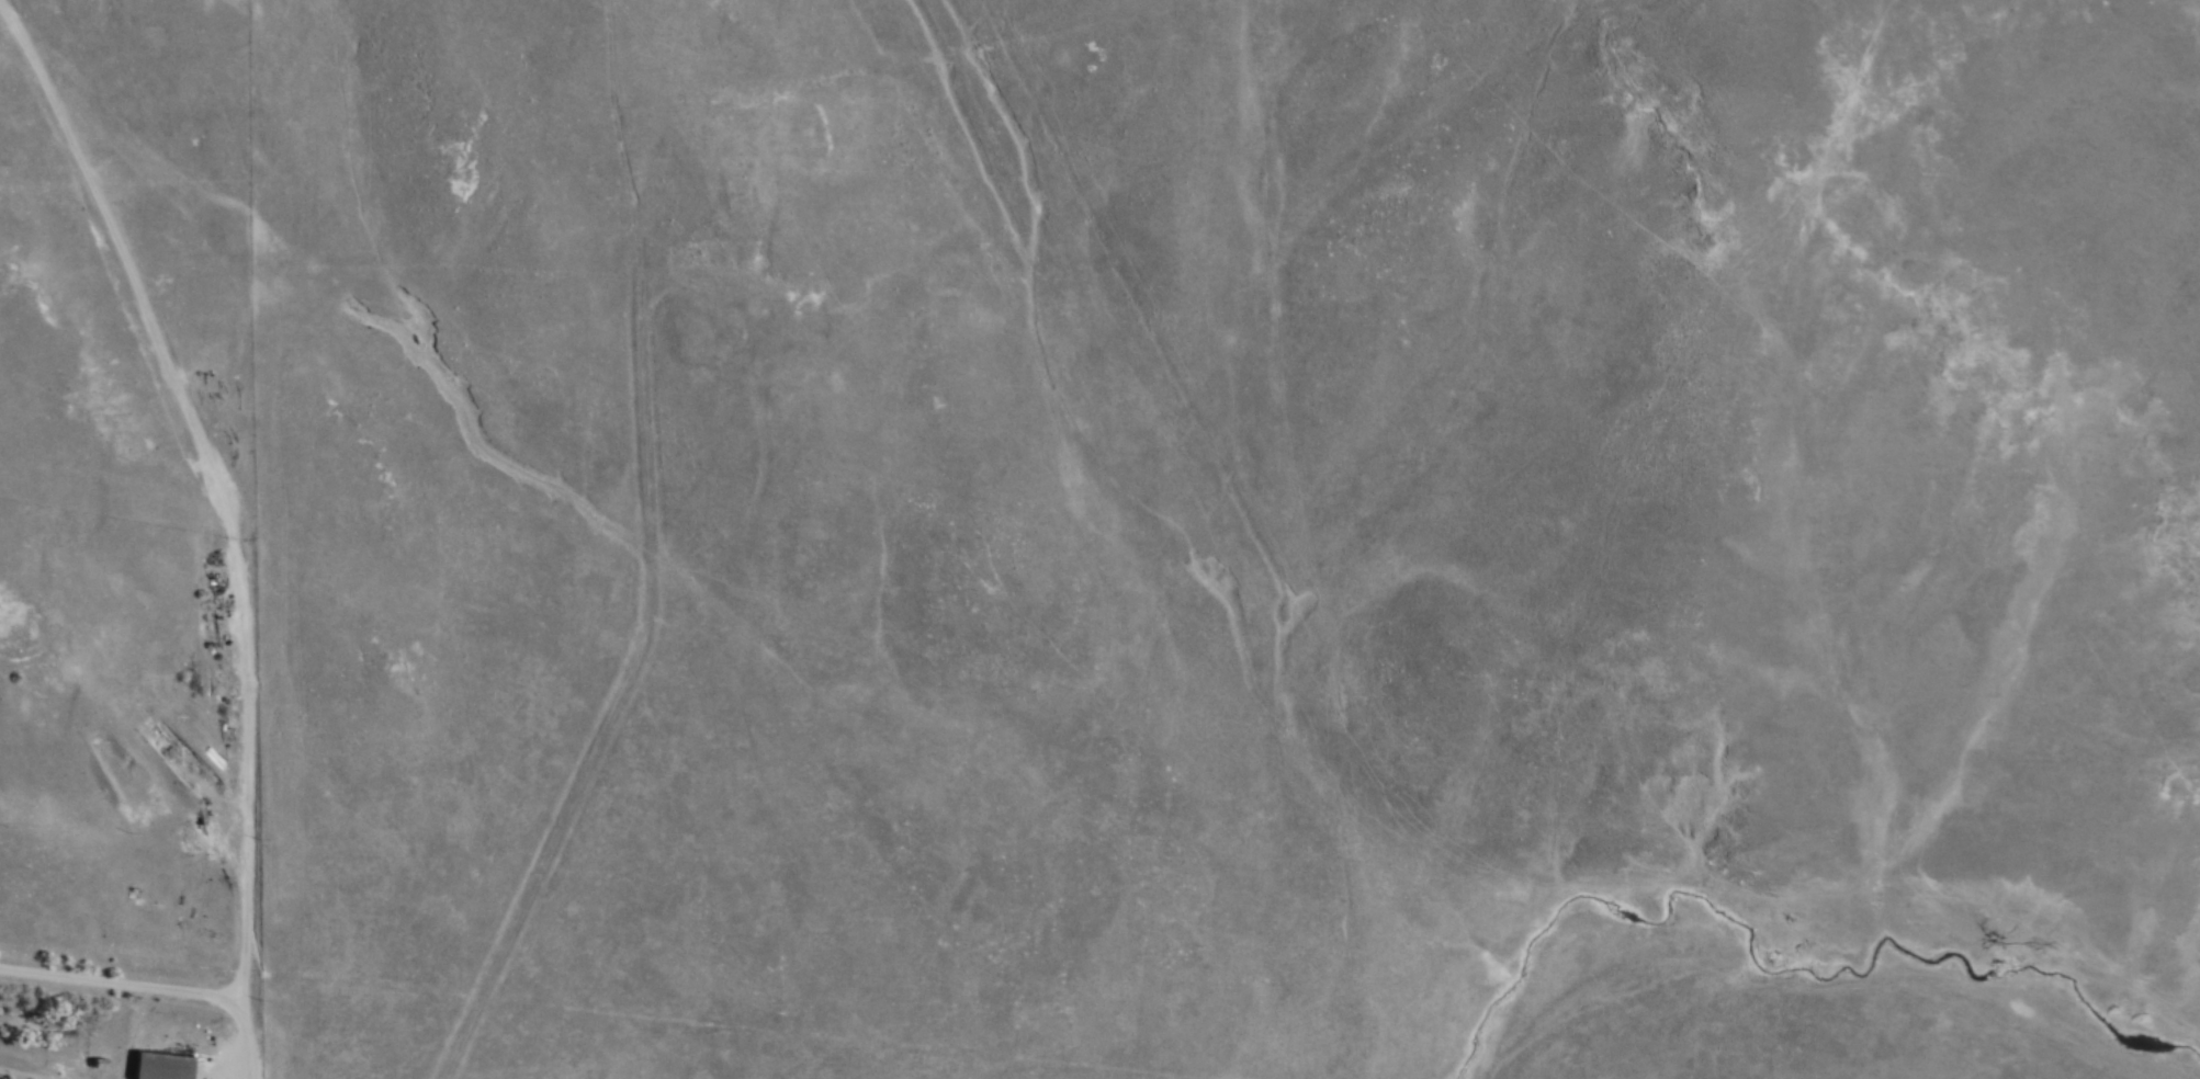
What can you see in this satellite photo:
road: (163, 991)
building: (161, 1066)
building: (1, 1078)

